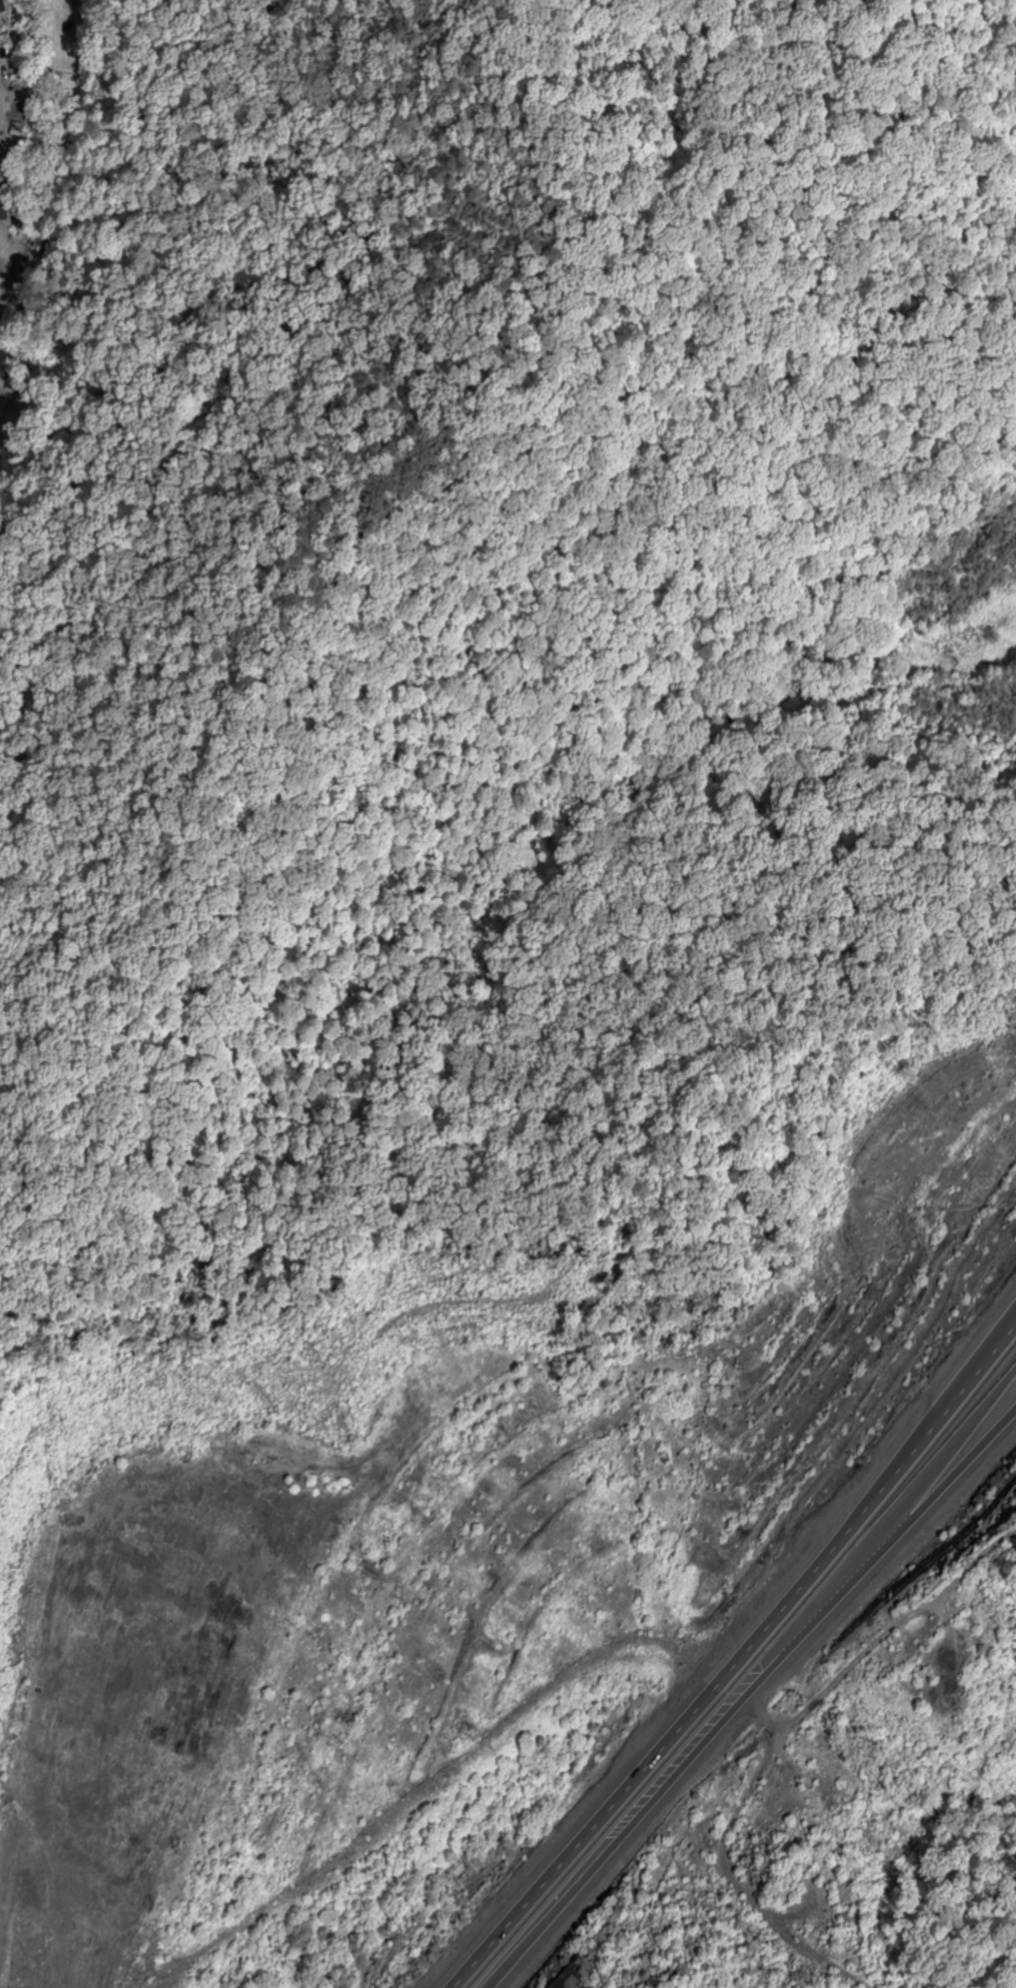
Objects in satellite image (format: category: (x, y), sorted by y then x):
building: (10, 151)
road: (983, 1393)
road: (740, 1665)

